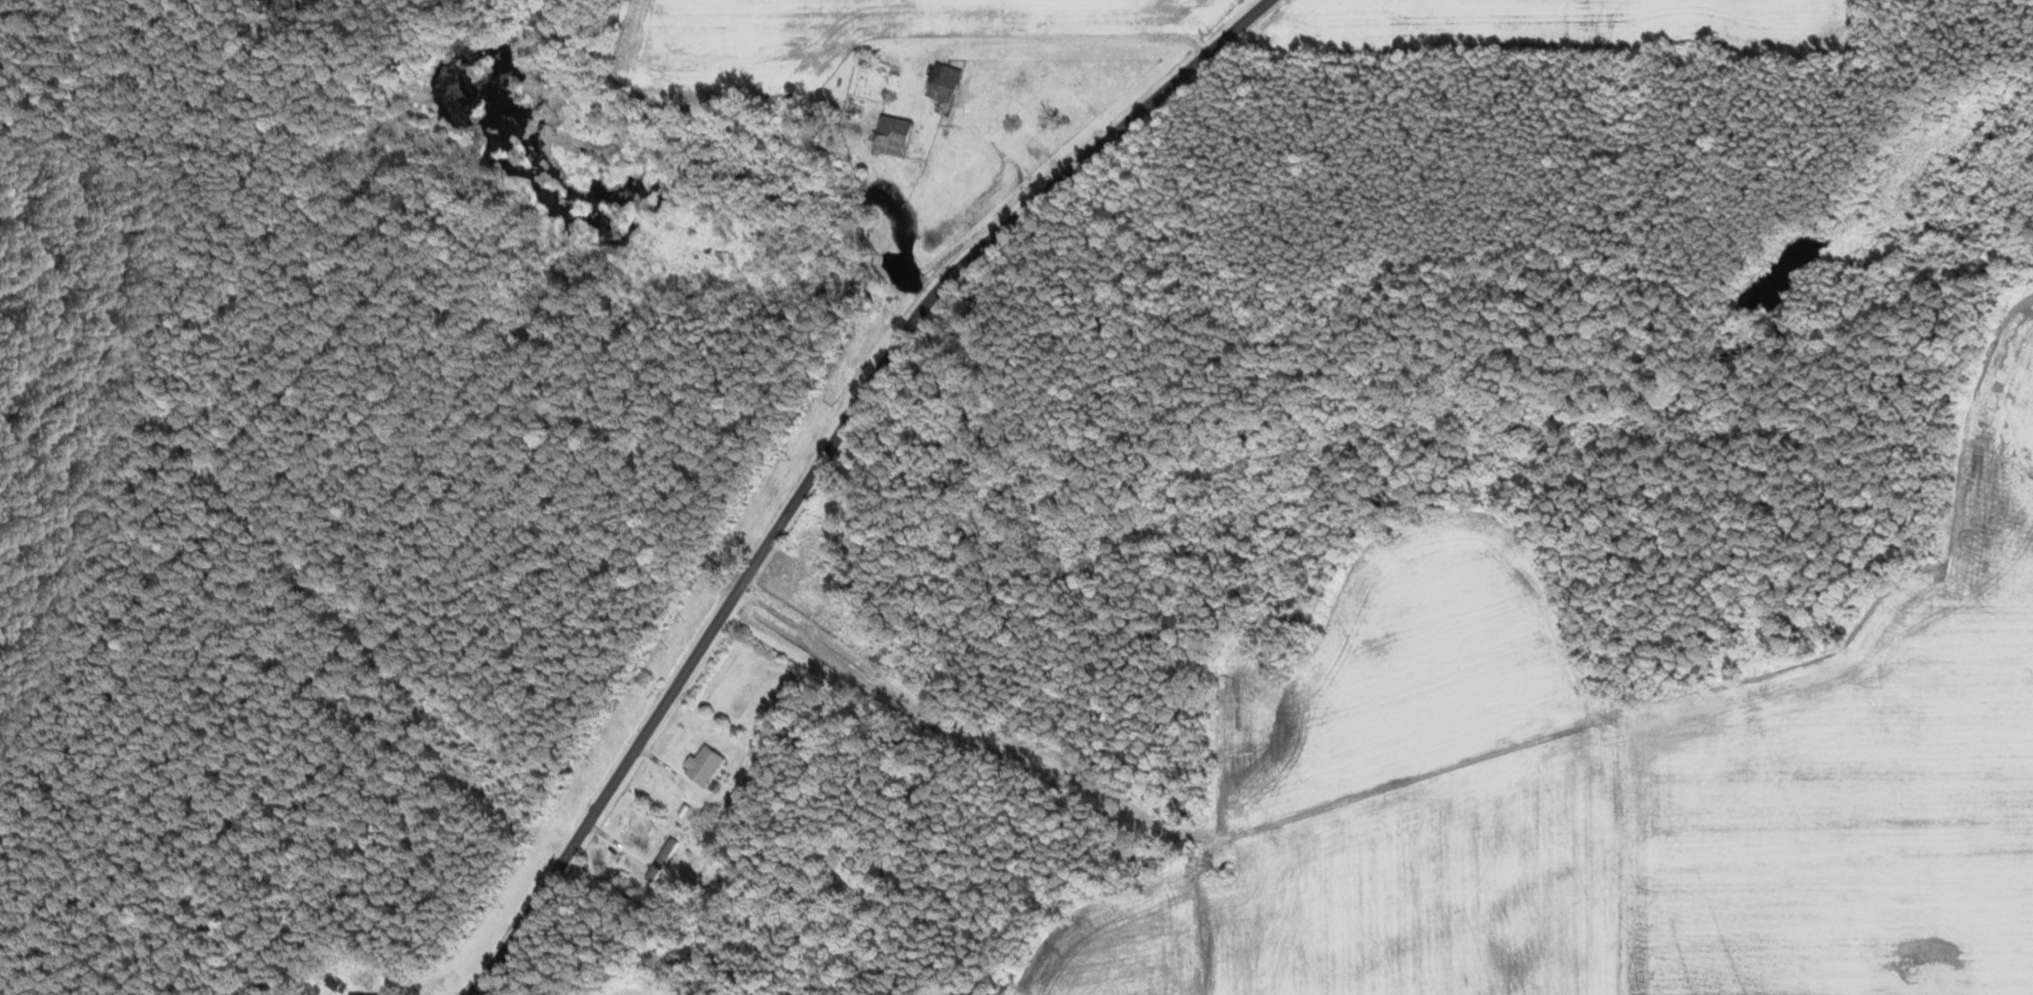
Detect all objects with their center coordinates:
road: (823, 456)
building: (794, 610)
building: (868, 636)
building: (705, 762)
building: (634, 836)
building: (336, 982)
building: (368, 994)

